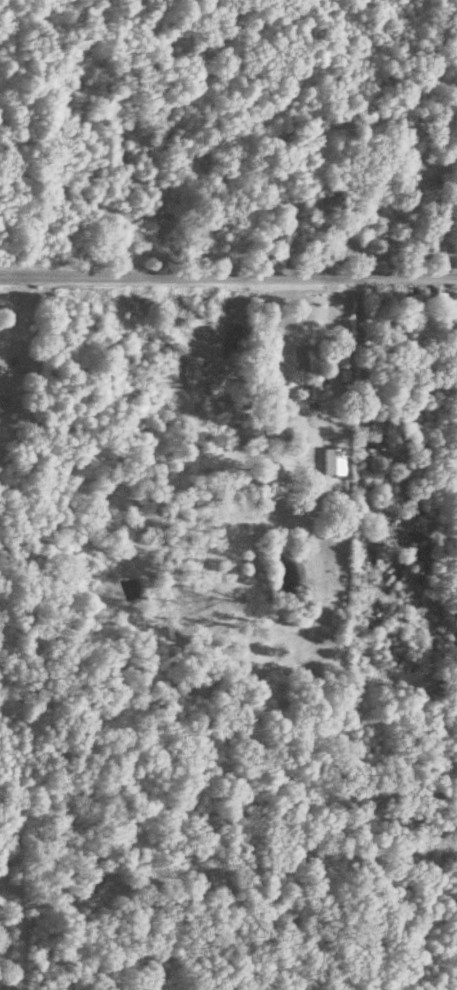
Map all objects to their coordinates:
building: (330, 203)
road: (89, 205)
road: (228, 278)
building: (191, 324)
building: (313, 375)
building: (1, 402)
road: (15, 928)
road: (8, 963)
road: (15, 978)

